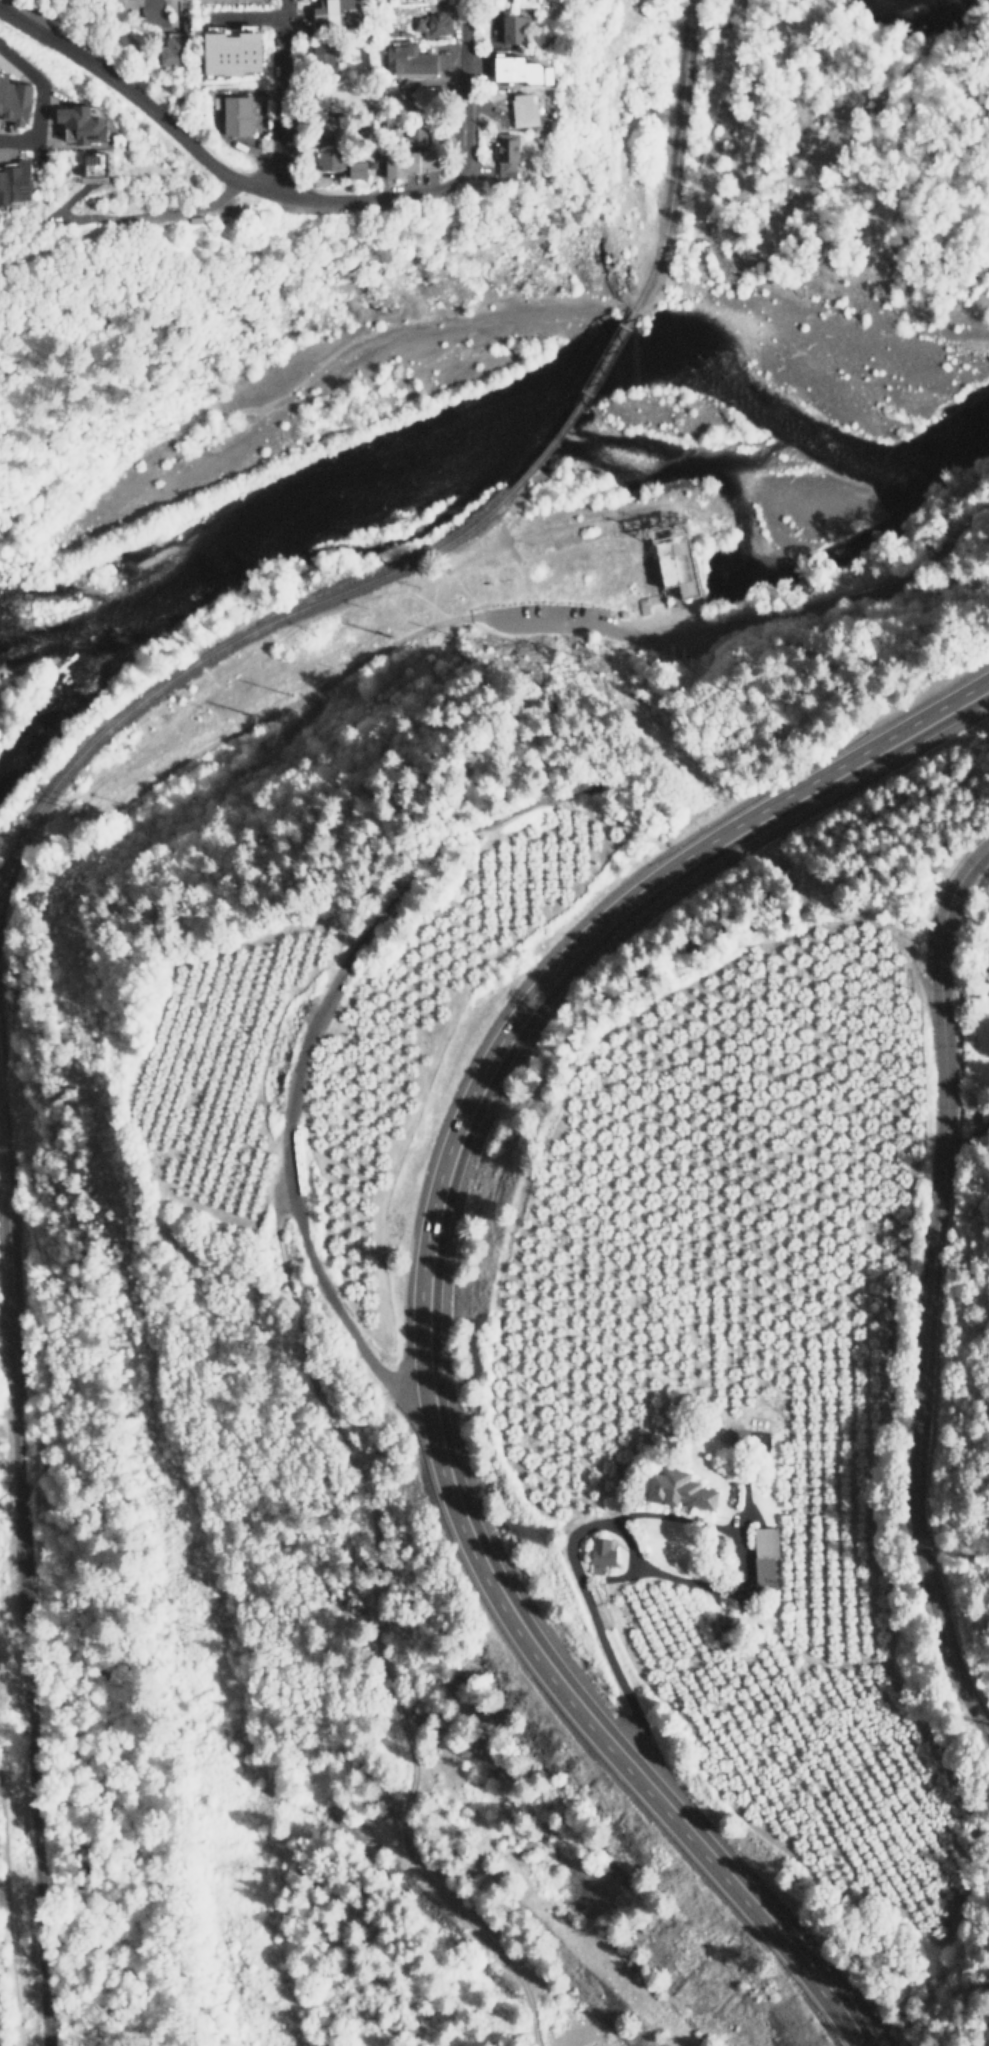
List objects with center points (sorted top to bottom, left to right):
road: (125, 3)
building: (331, 13)
building: (431, 24)
building: (512, 28)
building: (171, 48)
building: (226, 50)
building: (322, 57)
building: (517, 70)
building: (17, 99)
road: (286, 99)
road: (468, 101)
building: (523, 109)
road: (37, 111)
building: (234, 116)
building: (86, 123)
building: (412, 135)
road: (17, 141)
railway: (668, 152)
building: (504, 155)
road: (202, 156)
building: (326, 160)
building: (401, 162)
building: (101, 163)
building: (353, 169)
building: (16, 181)
road: (175, 212)
road: (52, 246)
railway: (580, 404)
river: (510, 422)
road: (570, 524)
building: (677, 571)
parking lot: (537, 610)
road: (743, 620)
railway: (208, 646)
road: (233, 730)
road: (293, 1192)
road: (926, 1289)
road: (424, 1304)
road: (2, 1426)
building: (676, 1489)
road: (630, 1516)
building: (597, 1554)
building: (763, 1560)
railway: (28, 1596)
road: (10, 1904)

